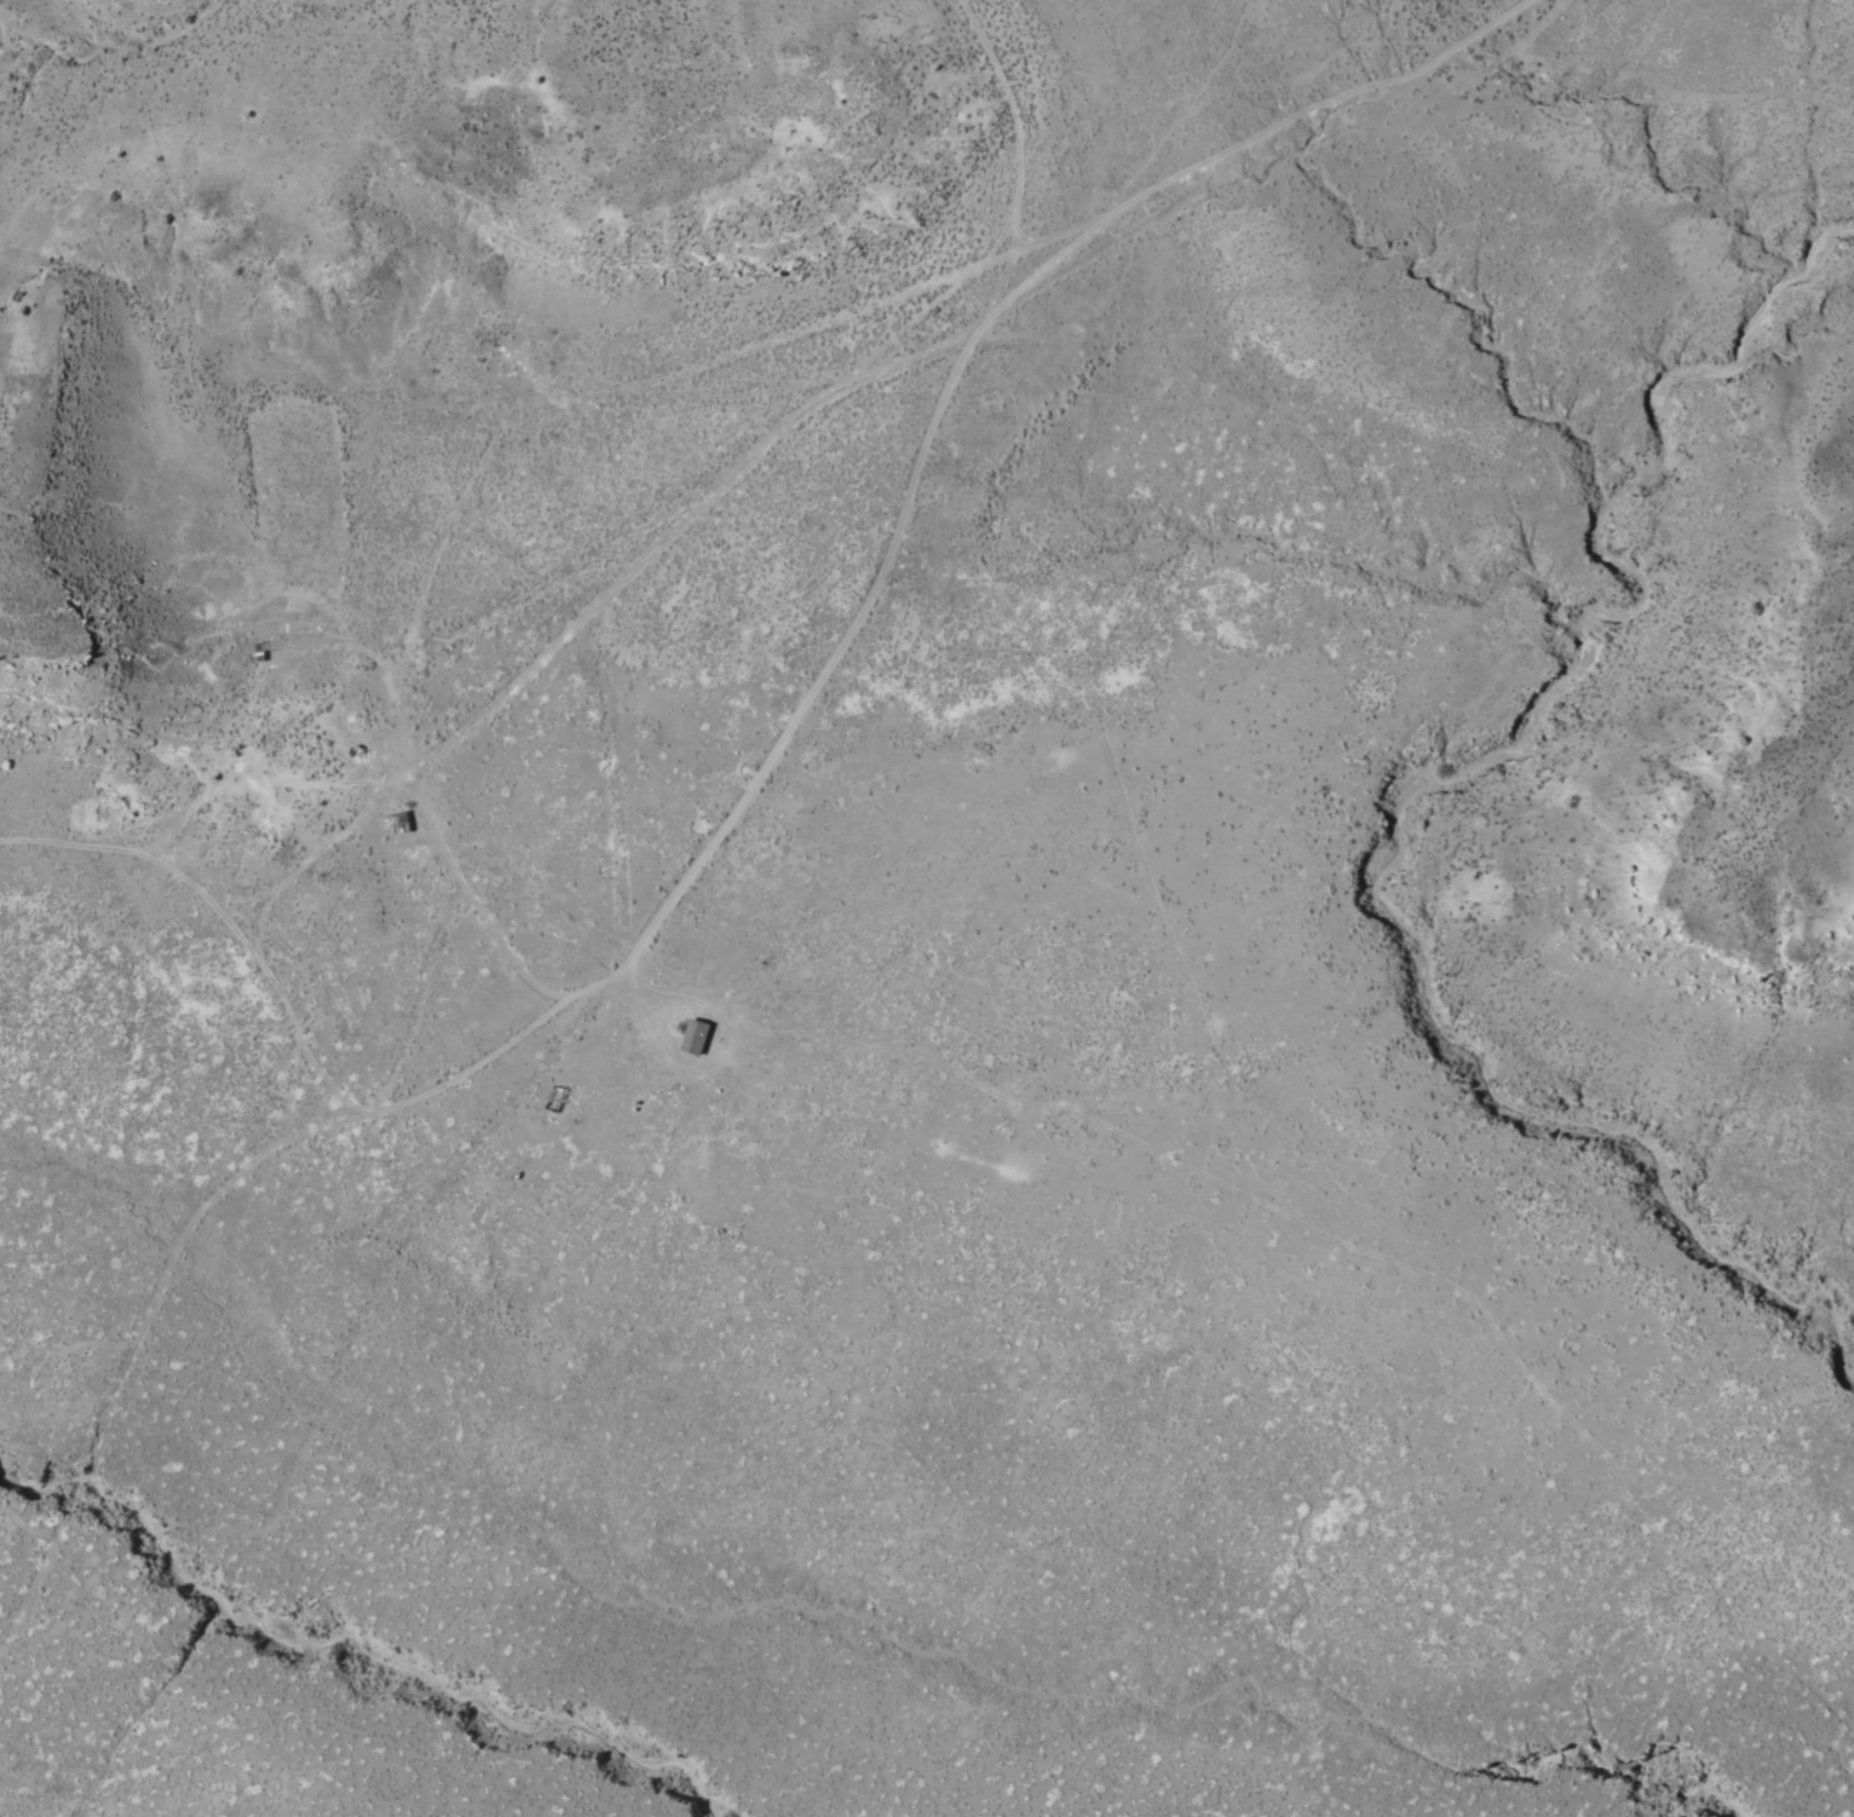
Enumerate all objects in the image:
road: (1017, 160)
road: (742, 466)
building: (398, 823)
building: (693, 1037)
road: (340, 1776)

